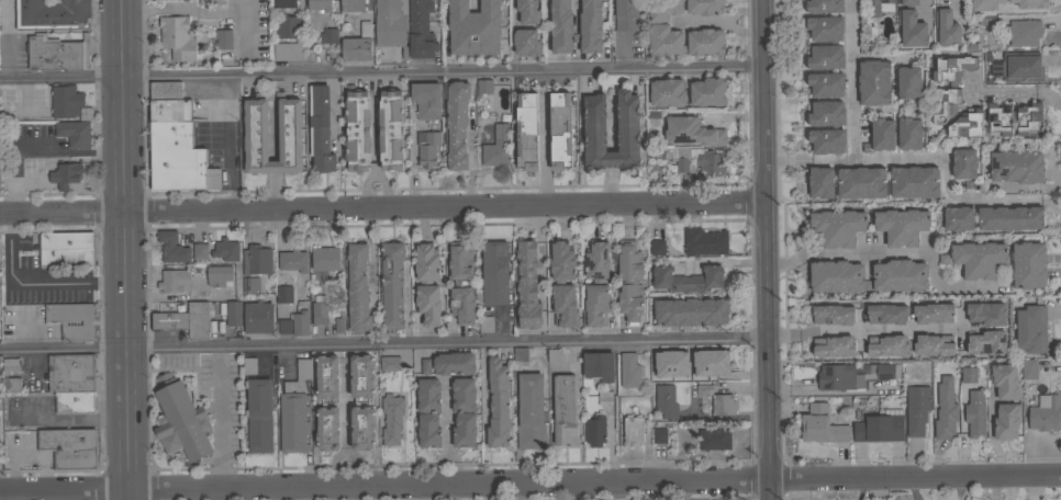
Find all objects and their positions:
building: (937, 0)
building: (908, 2)
building: (284, 3)
building: (520, 3)
building: (898, 3)
building: (320, 4)
building: (1026, 4)
building: (351, 5)
road: (148, 7)
building: (705, 7)
building: (813, 7)
building: (878, 7)
road: (216, 10)
road: (576, 10)
building: (663, 10)
building: (52, 13)
building: (626, 15)
building: (987, 21)
building: (390, 24)
building: (289, 26)
building: (561, 26)
building: (590, 26)
building: (473, 27)
building: (548, 27)
building: (578, 27)
building: (947, 27)
building: (278, 29)
building: (911, 29)
building: (421, 30)
building: (815, 30)
road: (246, 32)
building: (535, 32)
building: (1024, 32)
building: (330, 35)
building: (178, 36)
building: (706, 37)
building: (223, 39)
building: (358, 44)
building: (513, 44)
building: (882, 45)
building: (972, 46)
building: (289, 50)
building: (57, 52)
building: (815, 59)
building: (1019, 67)
road: (380, 76)
building: (863, 84)
building: (898, 84)
building: (484, 86)
building: (816, 86)
building: (165, 90)
building: (668, 92)
building: (707, 92)
road: (1001, 95)
building: (952, 98)
building: (426, 99)
building: (65, 101)
building: (170, 110)
building: (86, 113)
building: (816, 115)
road: (375, 120)
building: (998, 120)
building: (1027, 120)
road: (611, 122)
building: (456, 123)
building: (594, 123)
building: (987, 123)
building: (320, 128)
building: (289, 129)
building: (391, 129)
building: (357, 130)
building: (526, 130)
building: (560, 130)
building: (692, 132)
building: (75, 133)
building: (898, 136)
building: (871, 137)
road: (337, 141)
road: (230, 143)
building: (498, 143)
building: (816, 143)
building: (427, 147)
road: (546, 149)
road: (66, 151)
road: (868, 157)
building: (178, 158)
building: (682, 158)
road: (611, 159)
building: (710, 162)
building: (677, 166)
building: (953, 166)
building: (1016, 166)
building: (16, 167)
building: (66, 174)
building: (931, 182)
building: (903, 183)
building: (836, 184)
road: (366, 185)
road: (383, 185)
road: (611, 185)
road: (1023, 186)
road: (382, 206)
building: (948, 220)
building: (1001, 220)
building: (901, 225)
building: (836, 228)
building: (704, 241)
building: (171, 247)
building: (657, 247)
building: (66, 249)
road: (123, 249)
building: (200, 250)
building: (225, 250)
road: (766, 250)
road: (840, 254)
building: (325, 258)
building: (978, 258)
building: (941, 259)
building: (256, 260)
building: (293, 261)
building: (1028, 264)
building: (495, 272)
building: (217, 275)
building: (836, 275)
building: (898, 276)
building: (686, 279)
building: (174, 281)
road: (33, 282)
building: (629, 282)
building: (427, 283)
building: (457, 283)
building: (392, 284)
building: (562, 284)
building: (596, 284)
building: (250, 285)
building: (526, 286)
building: (357, 288)
building: (283, 294)
building: (965, 309)
building: (320, 310)
building: (830, 310)
building: (690, 311)
building: (890, 311)
building: (233, 314)
building: (927, 315)
building: (258, 317)
building: (72, 319)
building: (186, 319)
building: (300, 322)
building: (339, 322)
building: (485, 323)
building: (283, 325)
road: (871, 328)
building: (1030, 329)
building: (976, 344)
road: (383, 345)
building: (891, 348)
building: (831, 349)
building: (934, 349)
building: (520, 353)
building: (554, 355)
building: (657, 359)
building: (390, 363)
building: (448, 363)
building: (249, 365)
building: (599, 365)
building: (10, 366)
building: (715, 366)
building: (629, 370)
building: (1027, 370)
building: (72, 372)
building: (853, 374)
building: (965, 375)
building: (327, 376)
building: (361, 376)
building: (1004, 382)
building: (11, 385)
building: (464, 394)
building: (428, 395)
building: (666, 400)
building: (74, 401)
building: (499, 404)
building: (723, 404)
road: (345, 407)
building: (917, 408)
building: (945, 409)
building: (294, 410)
building: (565, 410)
building: (529, 411)
building: (1042, 412)
building: (974, 413)
building: (259, 414)
road: (68, 417)
building: (392, 418)
building: (180, 419)
building: (1006, 421)
building: (820, 424)
road: (963, 425)
building: (880, 427)
building: (362, 428)
building: (327, 429)
building: (464, 430)
building: (594, 430)
building: (632, 430)
building: (428, 431)
building: (659, 434)
building: (714, 439)
building: (485, 445)
building: (163, 446)
building: (70, 447)
road: (344, 452)
road: (529, 484)
road: (616, 491)
road: (422, 492)
road: (520, 492)
road: (216, 495)
road: (54, 496)
road: (11, 497)

